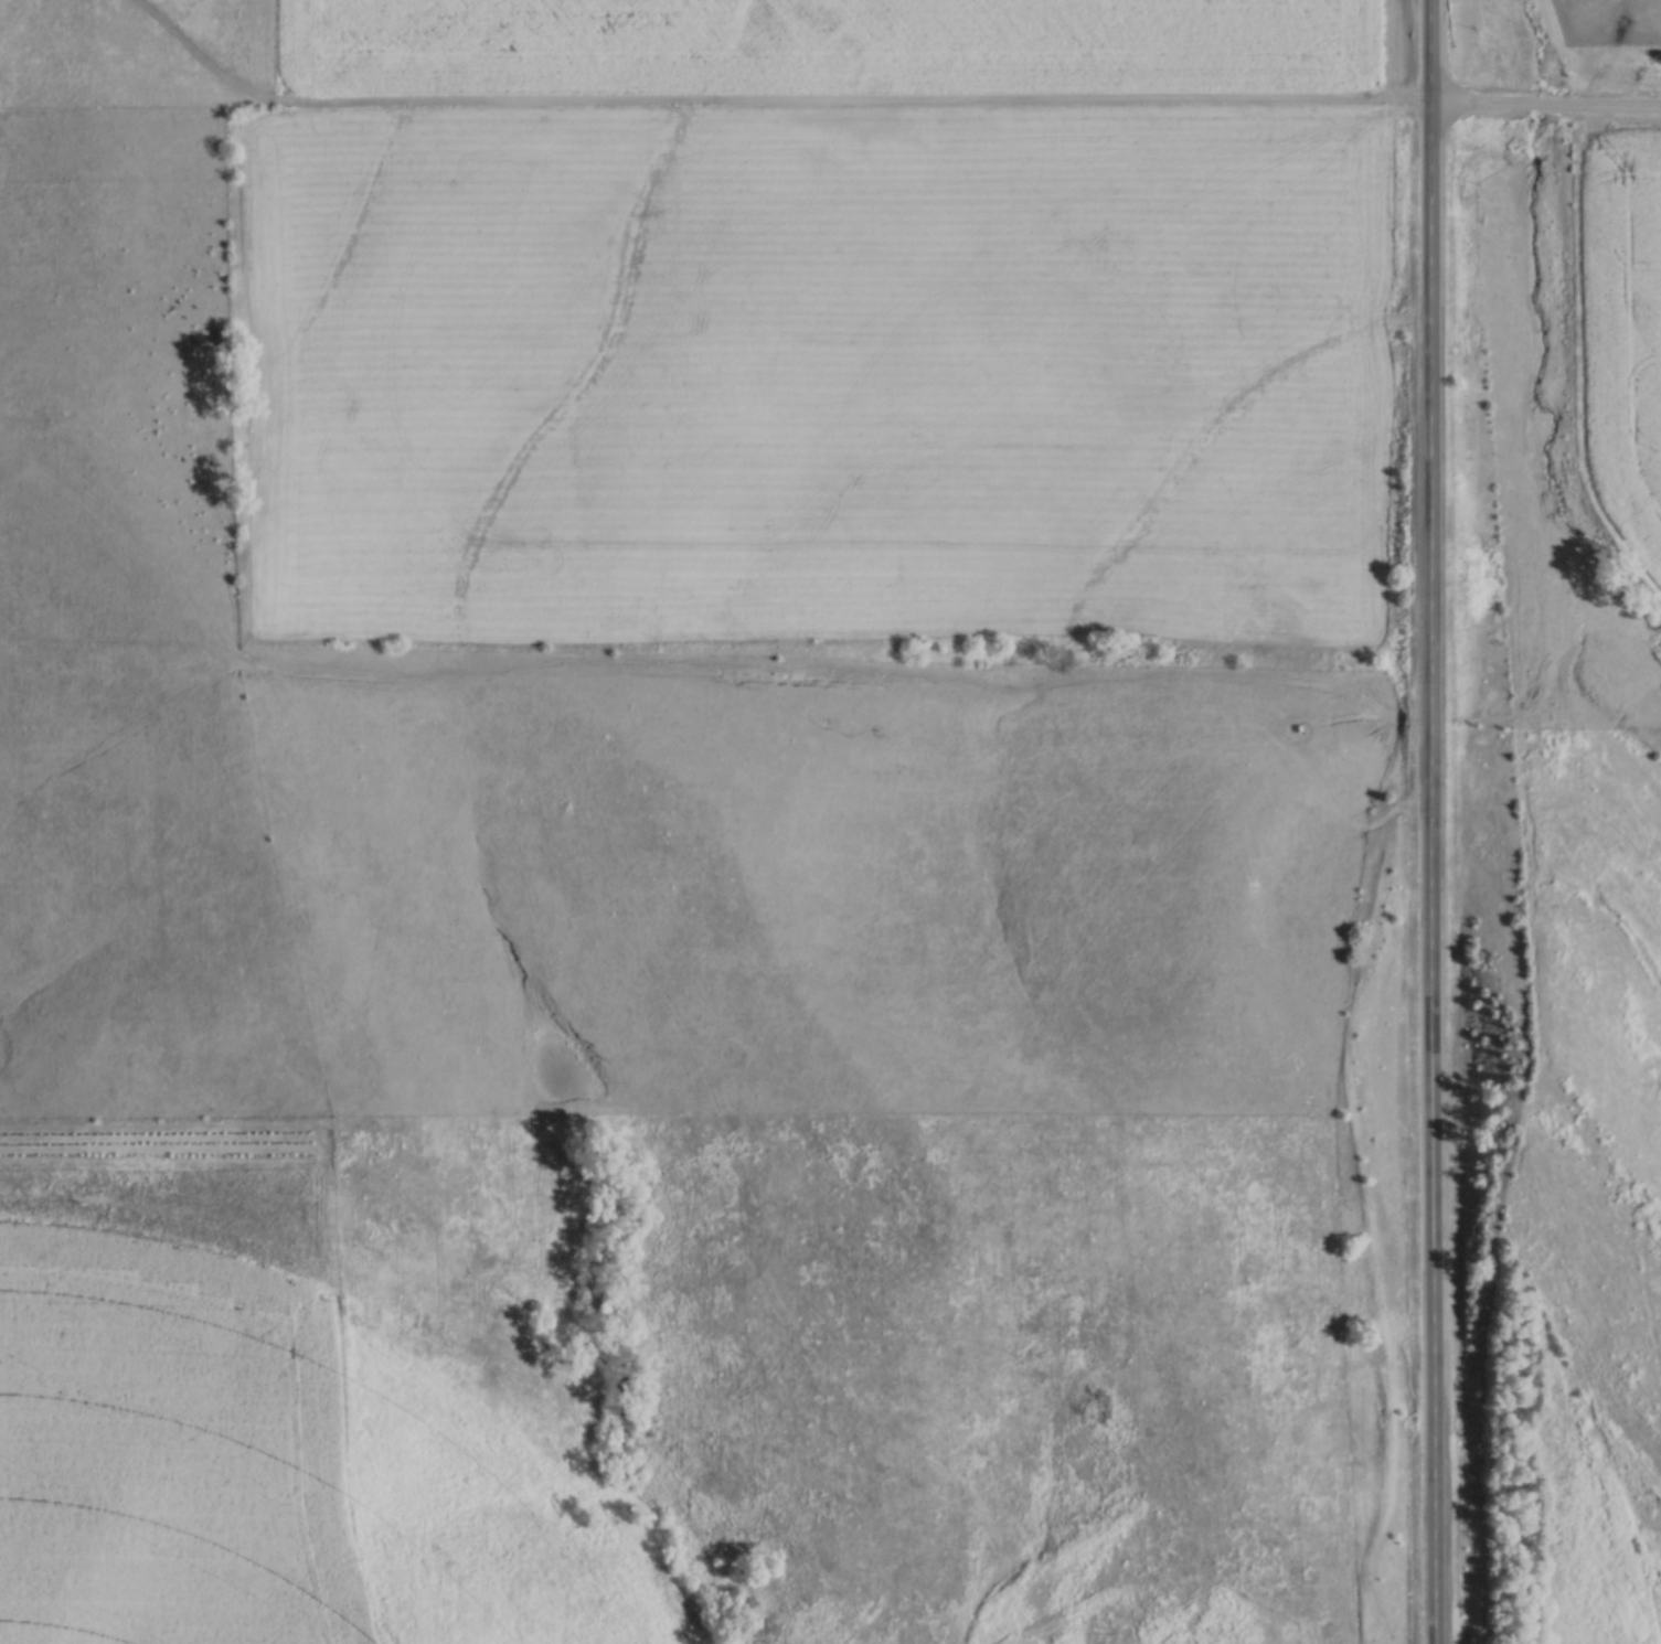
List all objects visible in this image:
road: (1545, 113)
road: (1429, 822)

